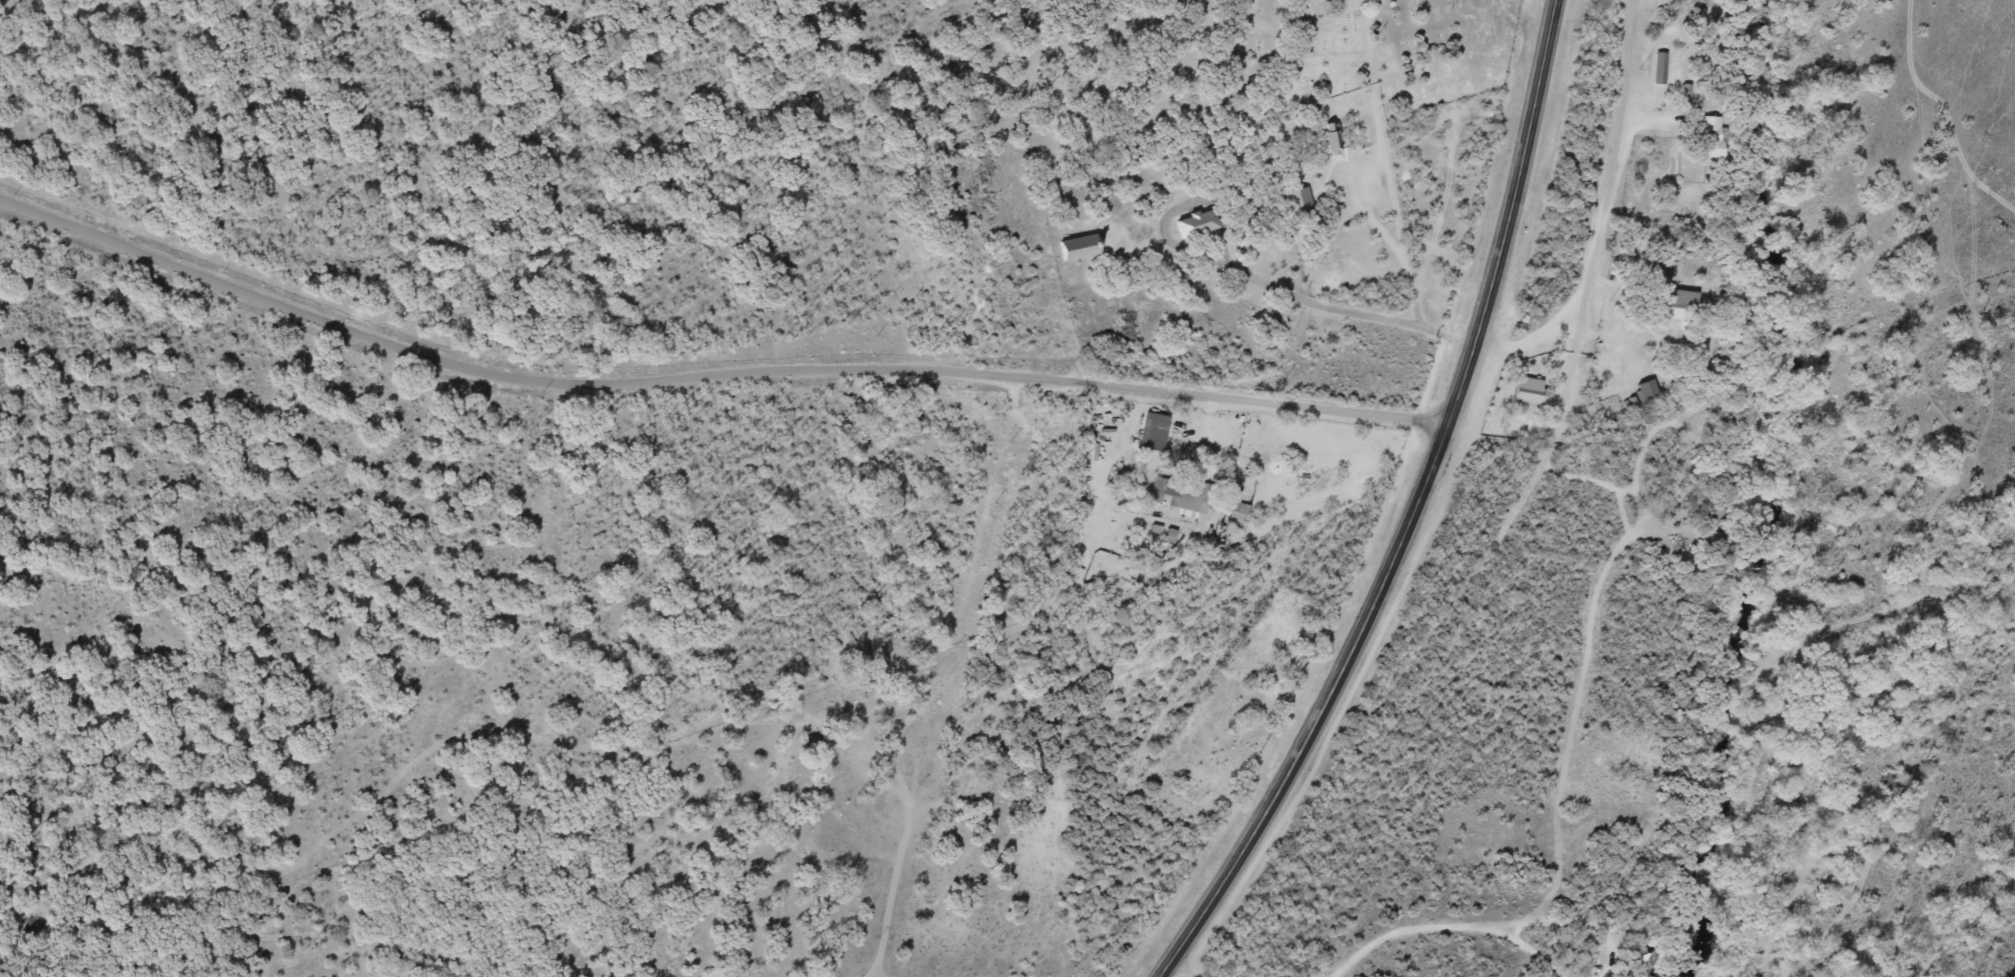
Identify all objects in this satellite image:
park: (1379, 49)
building: (1656, 68)
building: (1707, 136)
building: (1329, 138)
building: (1296, 203)
road: (1606, 216)
building: (1194, 224)
building: (1075, 248)
building: (1669, 300)
road: (710, 376)
building: (1528, 391)
building: (1644, 392)
building: (1151, 431)
road: (704, 448)
building: (1175, 494)
road: (1419, 512)
building: (1236, 515)
building: (1645, 961)

